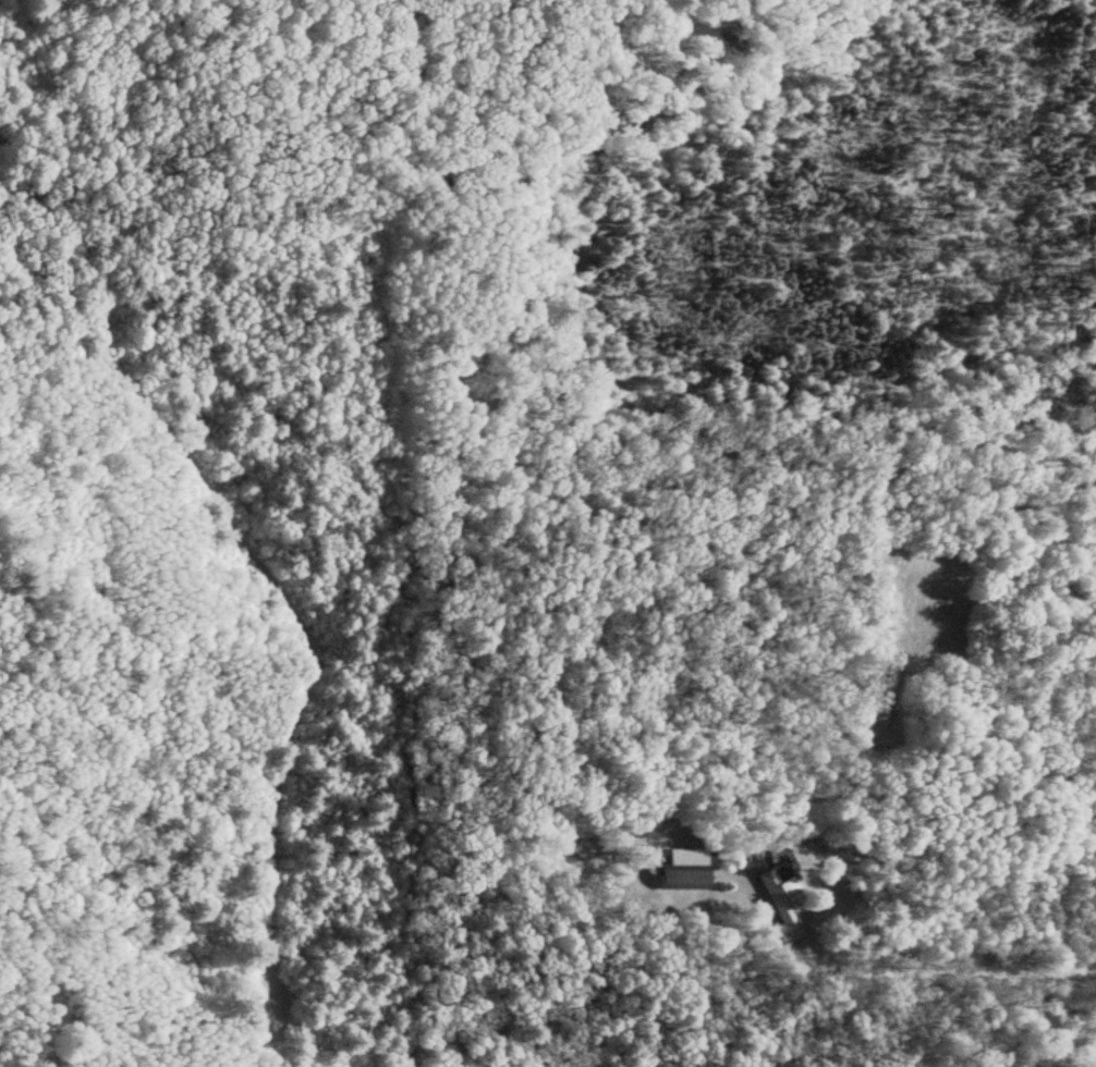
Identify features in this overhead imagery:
building: (873, 700)
building: (675, 871)
building: (762, 884)
building: (778, 934)
road: (966, 952)
road: (1075, 1013)

